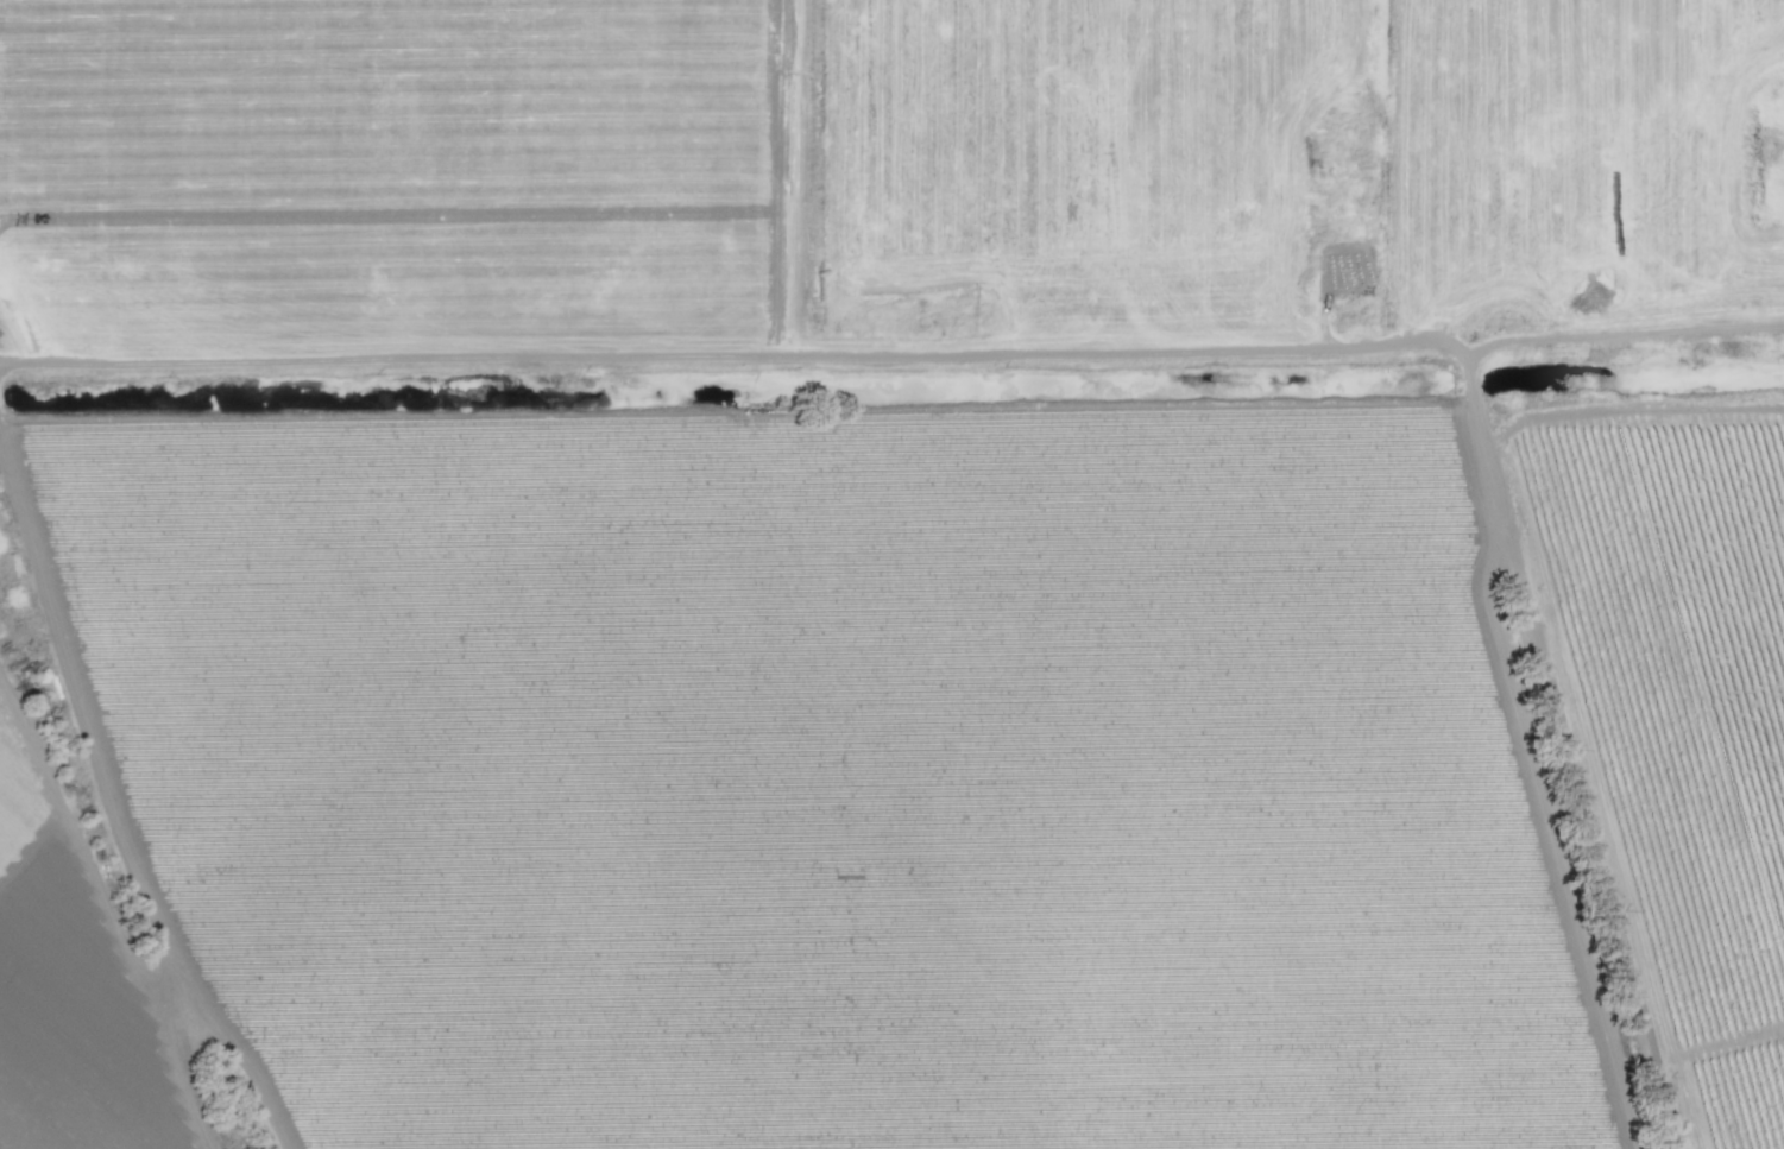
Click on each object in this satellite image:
road: (1569, 752)

